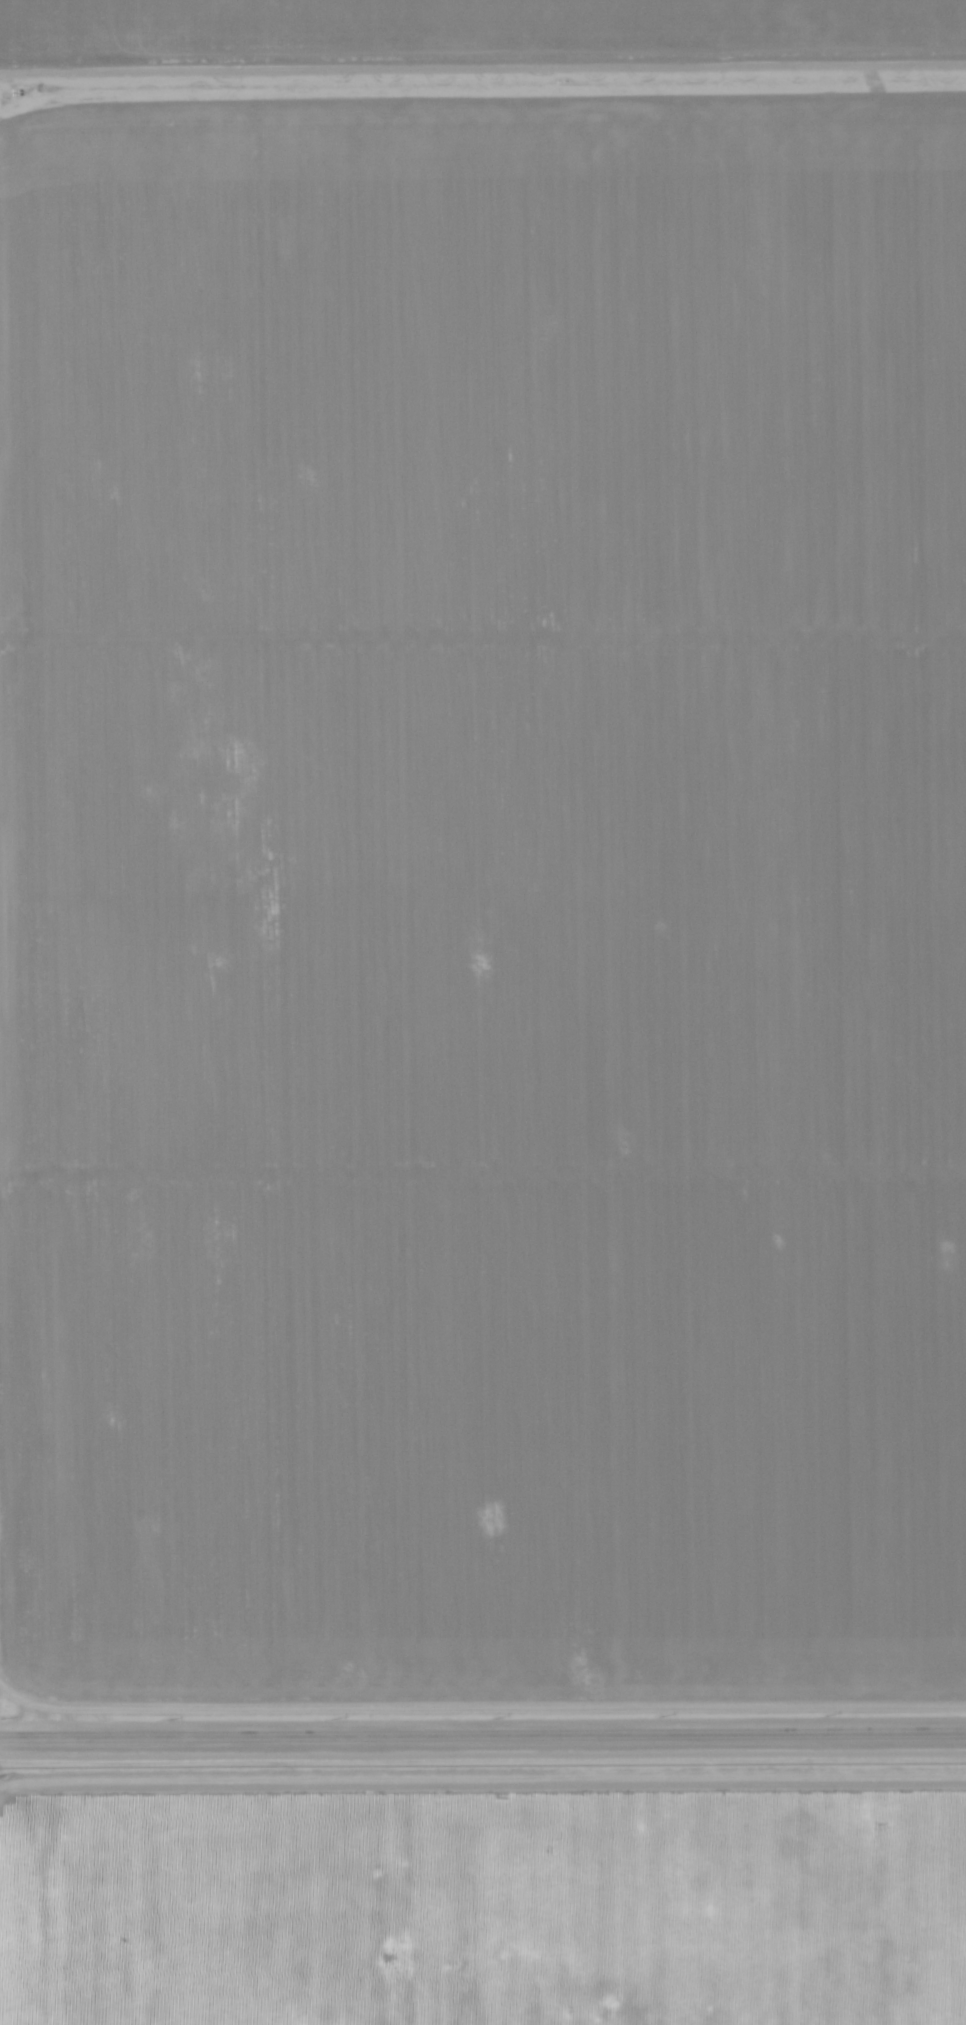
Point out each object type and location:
crop: (478, 29)
crop: (488, 886)
road: (483, 1732)
crop: (483, 1891)

